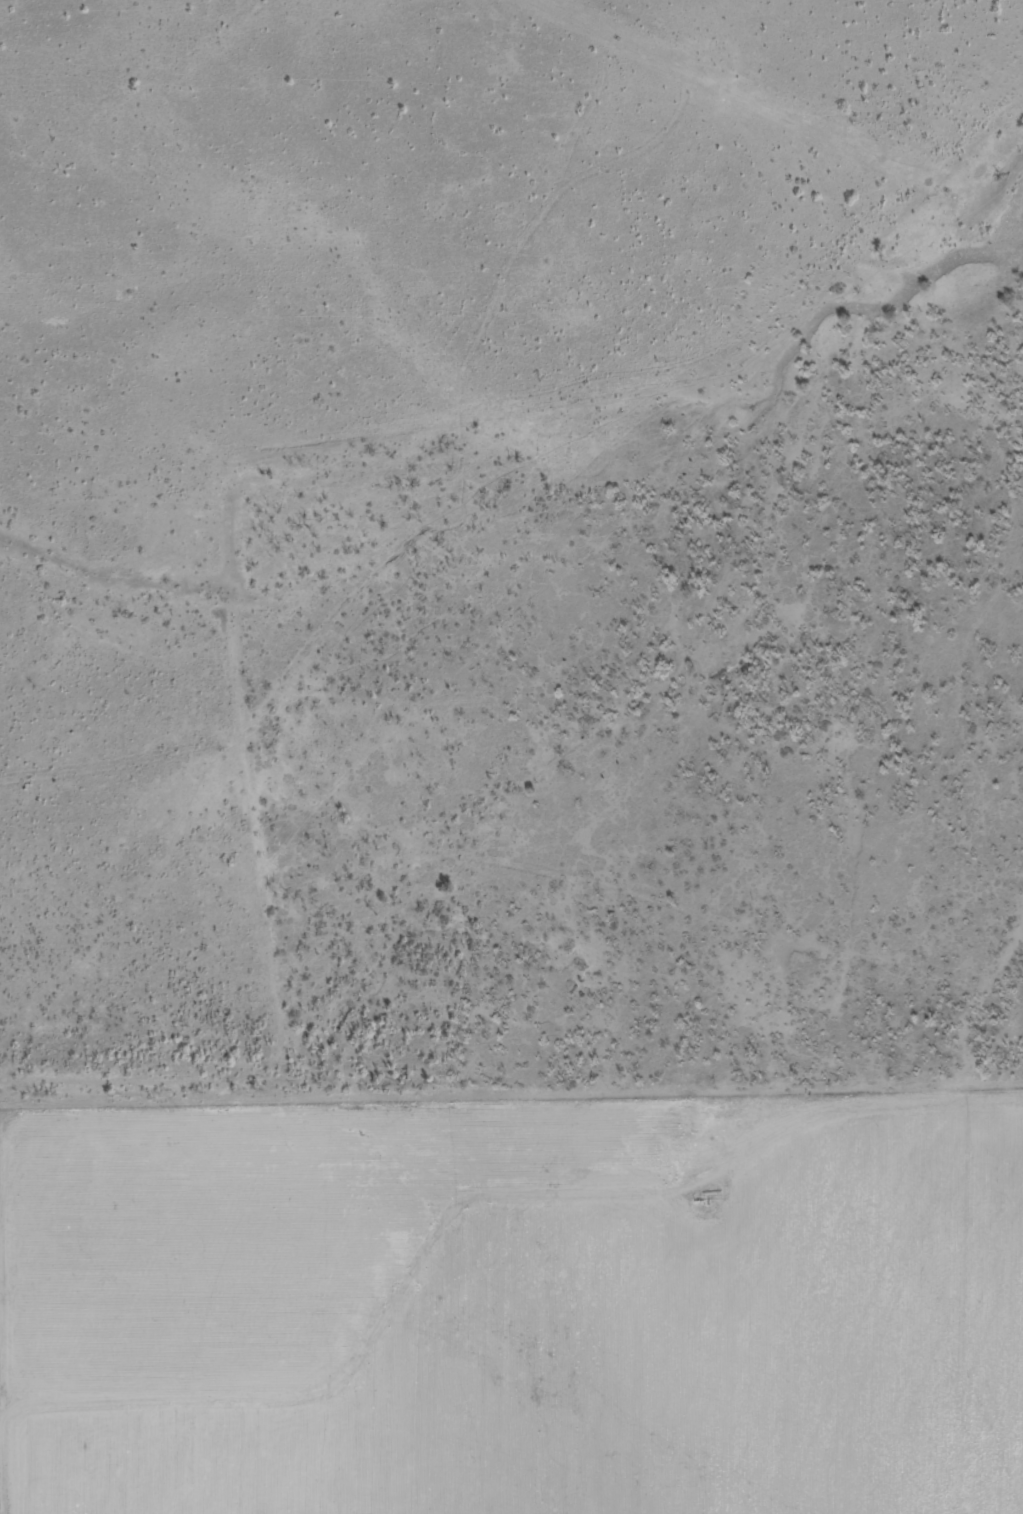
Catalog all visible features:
road: (560, 1082)

